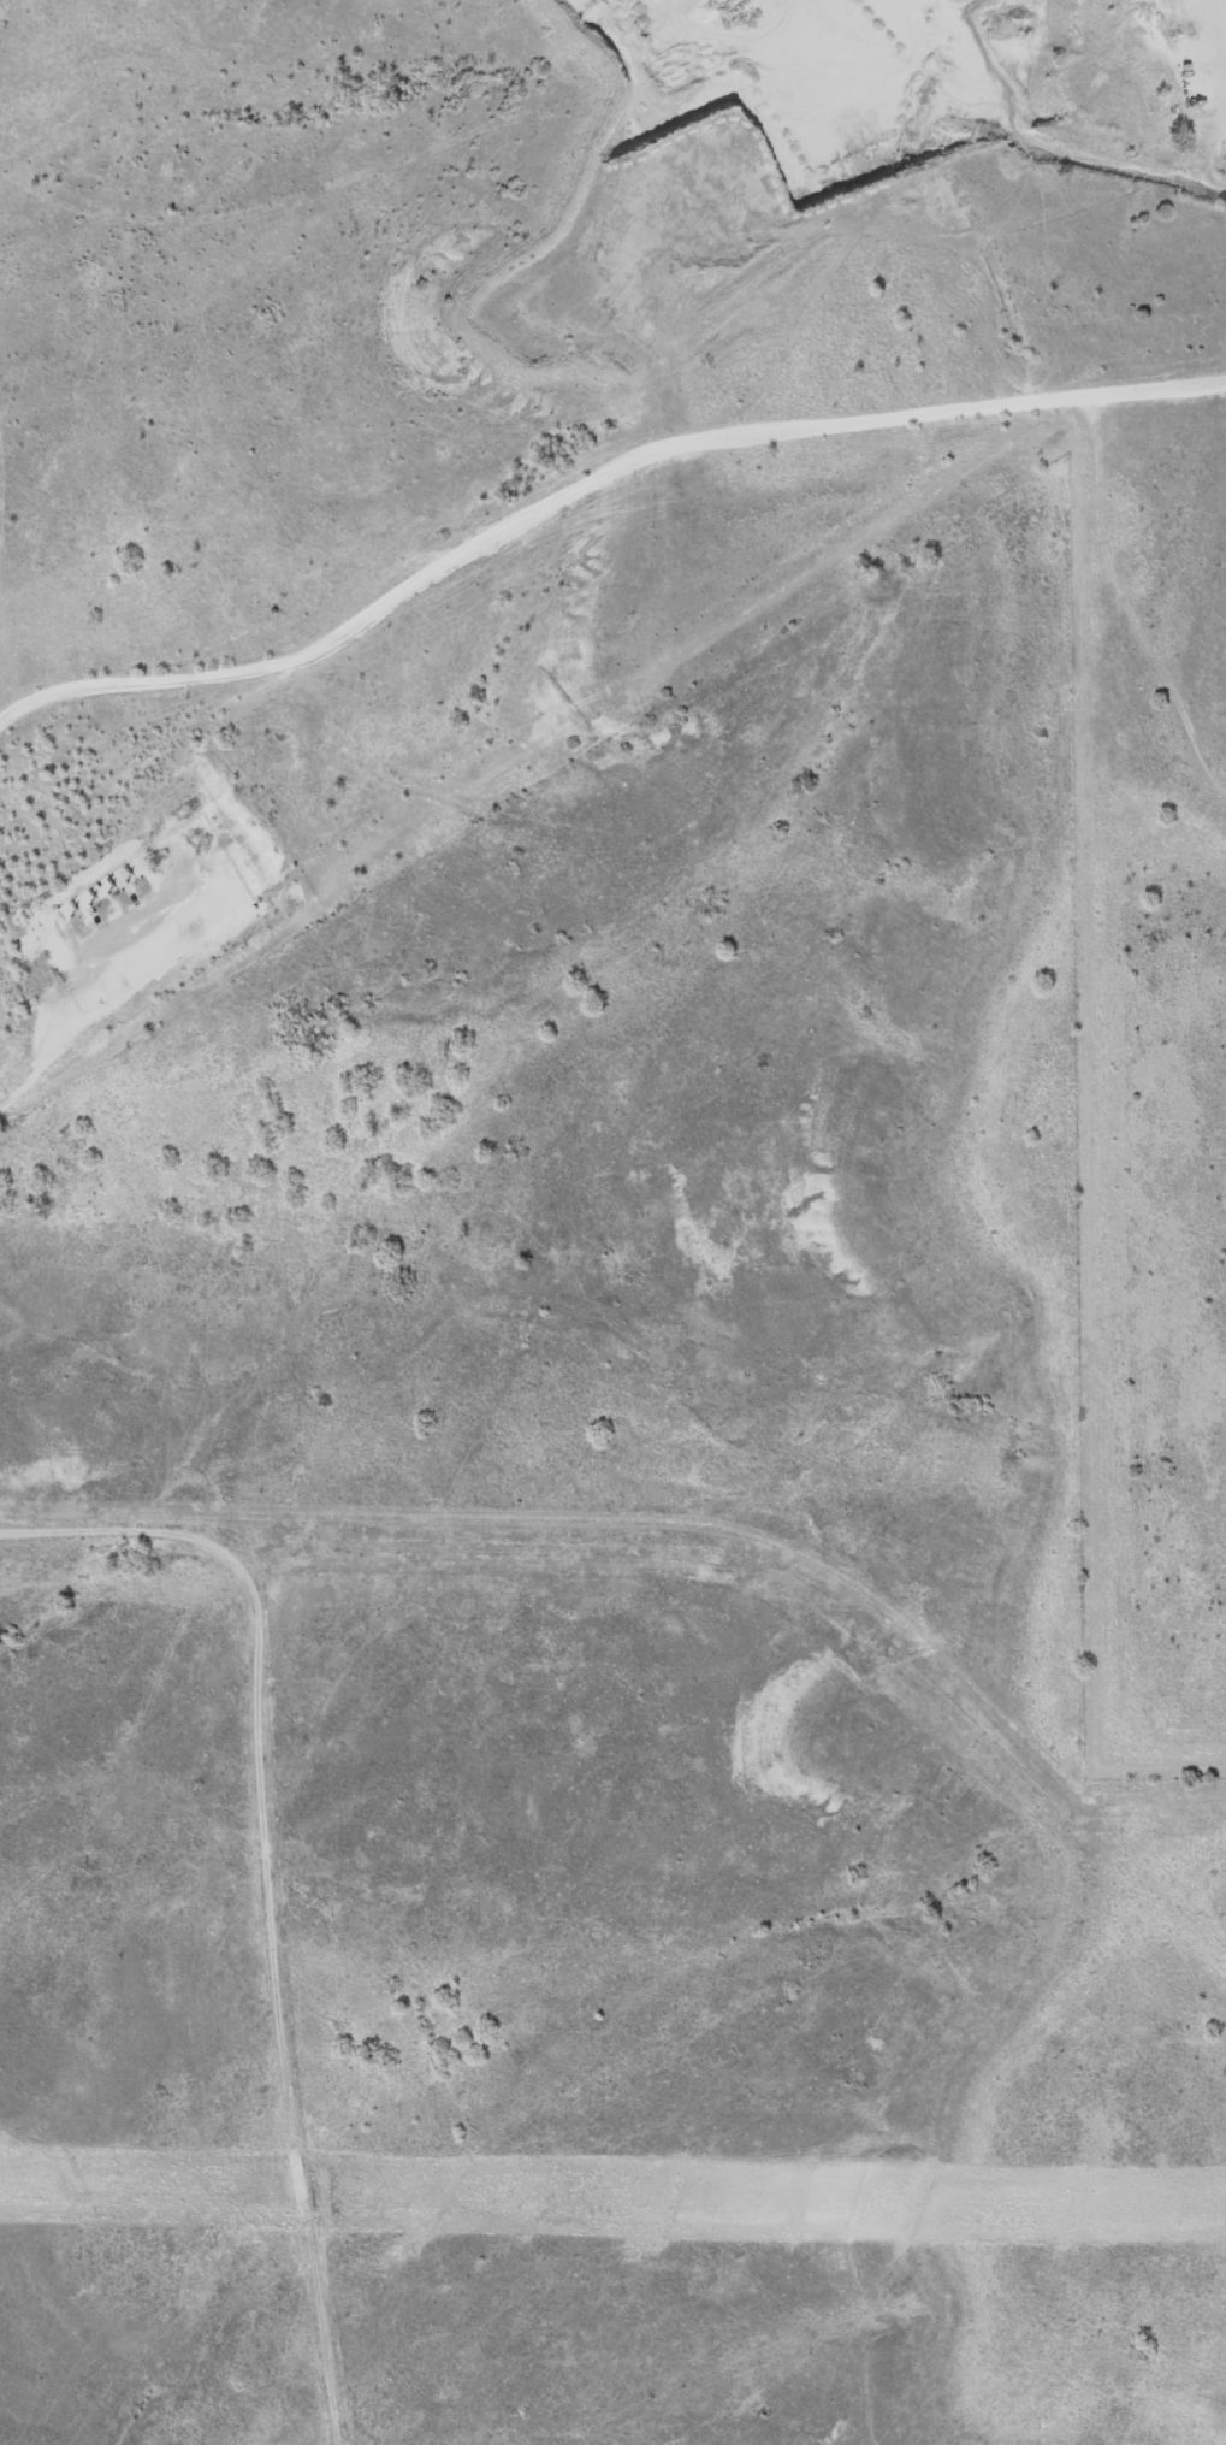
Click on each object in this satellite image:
road: (588, 478)
road: (263, 1884)

